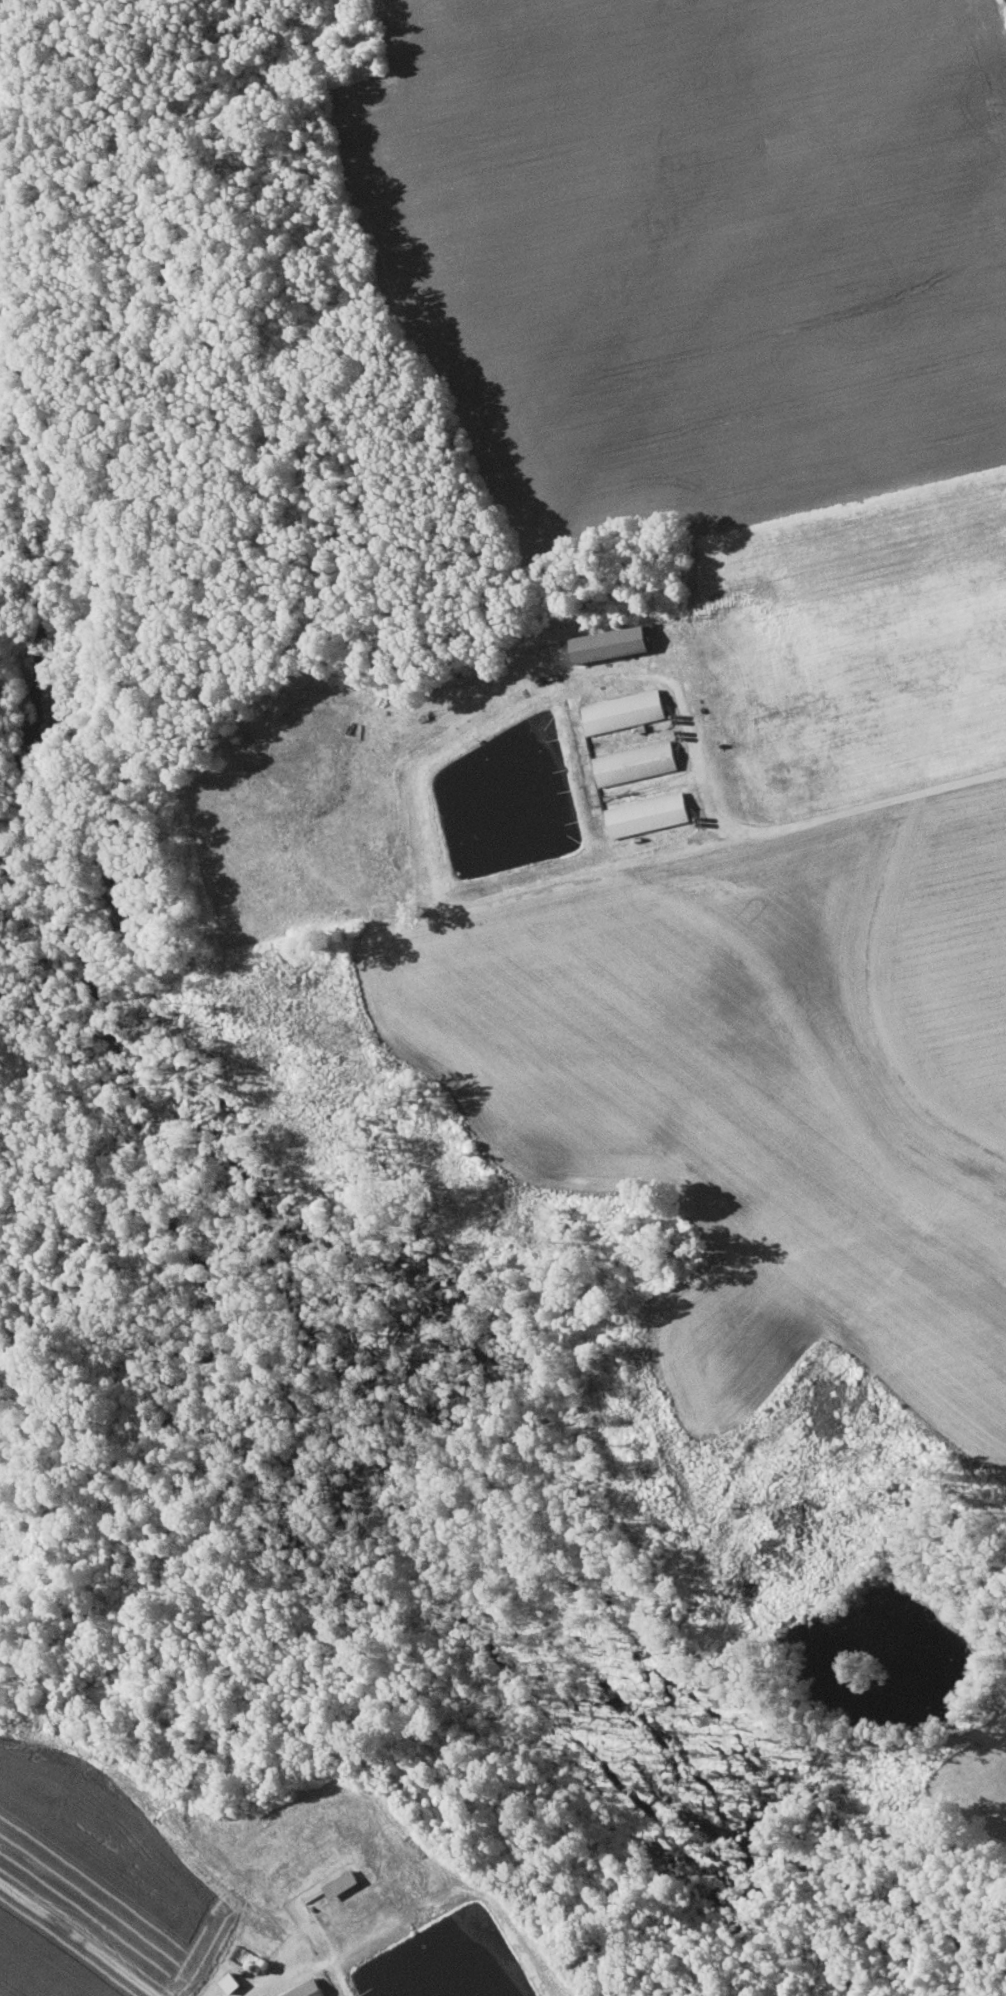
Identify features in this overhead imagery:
building: (611, 644)
building: (623, 711)
building: (636, 762)
building: (647, 814)
road: (785, 823)
building: (341, 1883)
building: (230, 1982)
building: (307, 1989)

